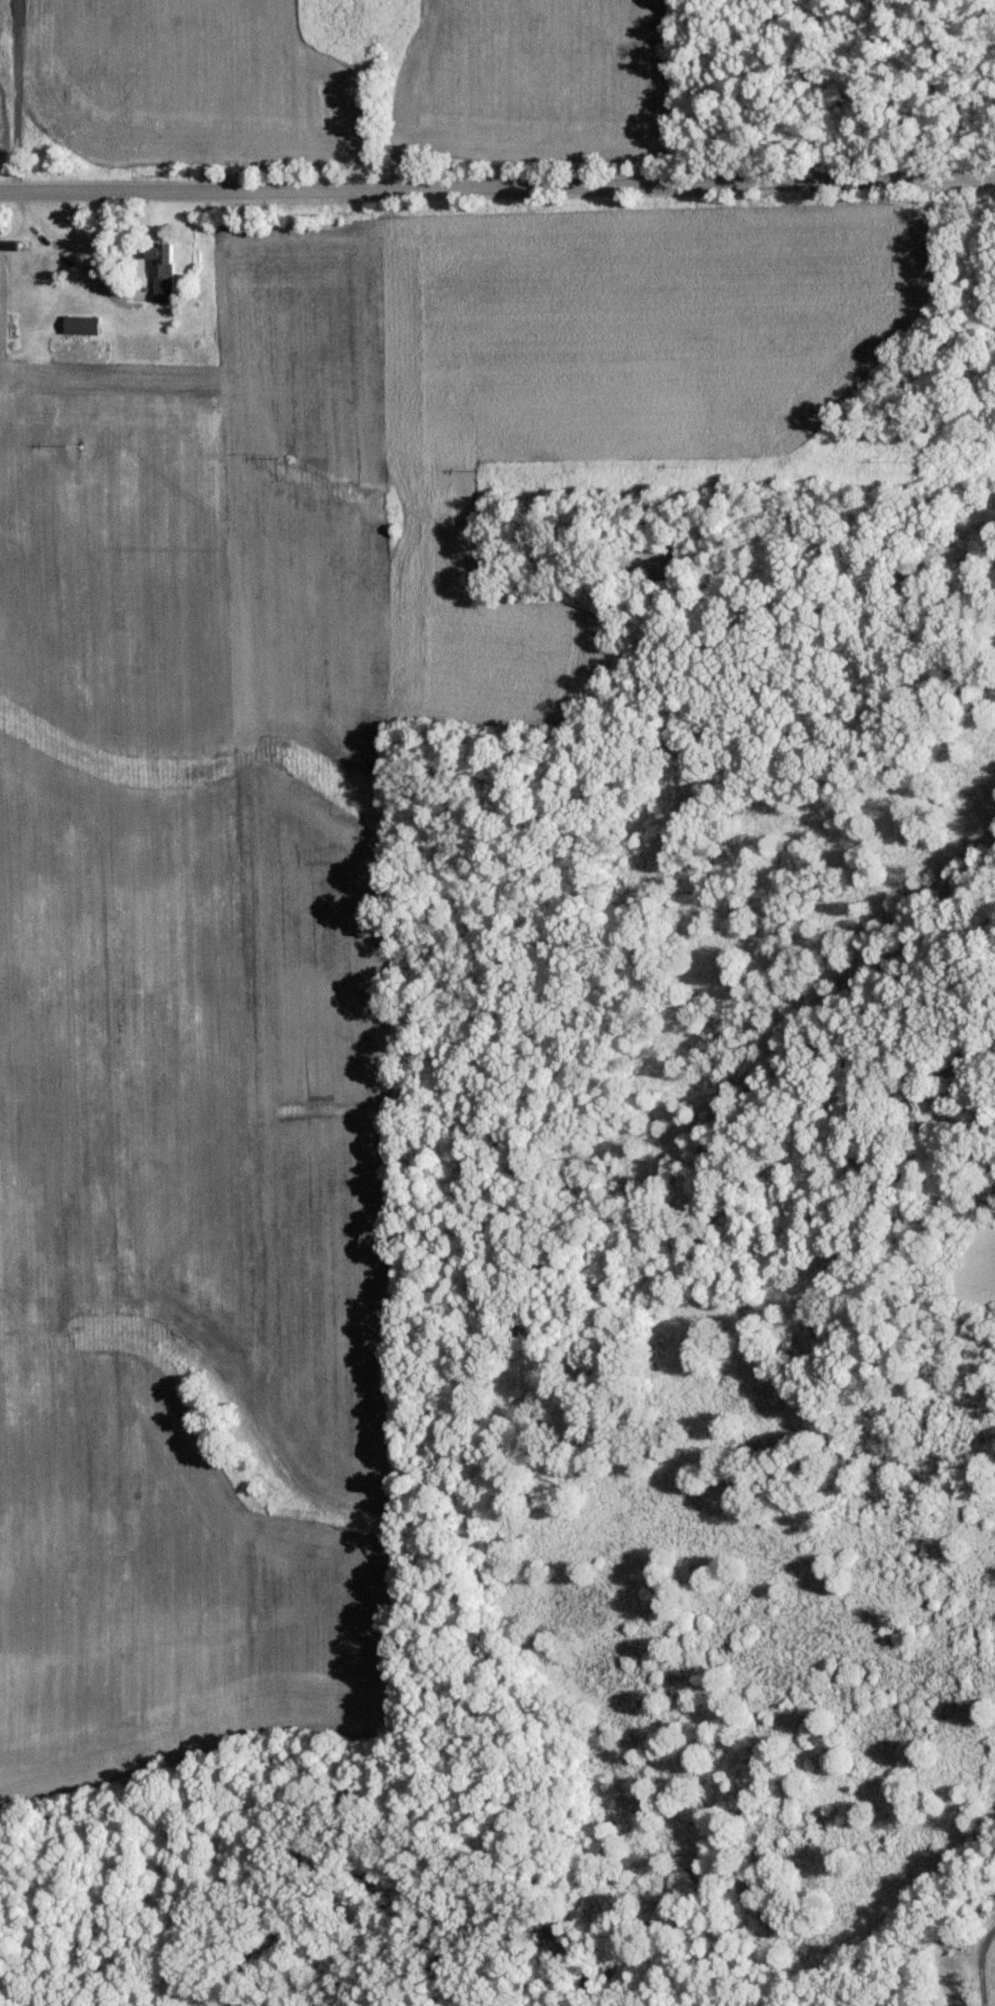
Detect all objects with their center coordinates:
road: (497, 188)
building: (160, 271)
building: (77, 324)

